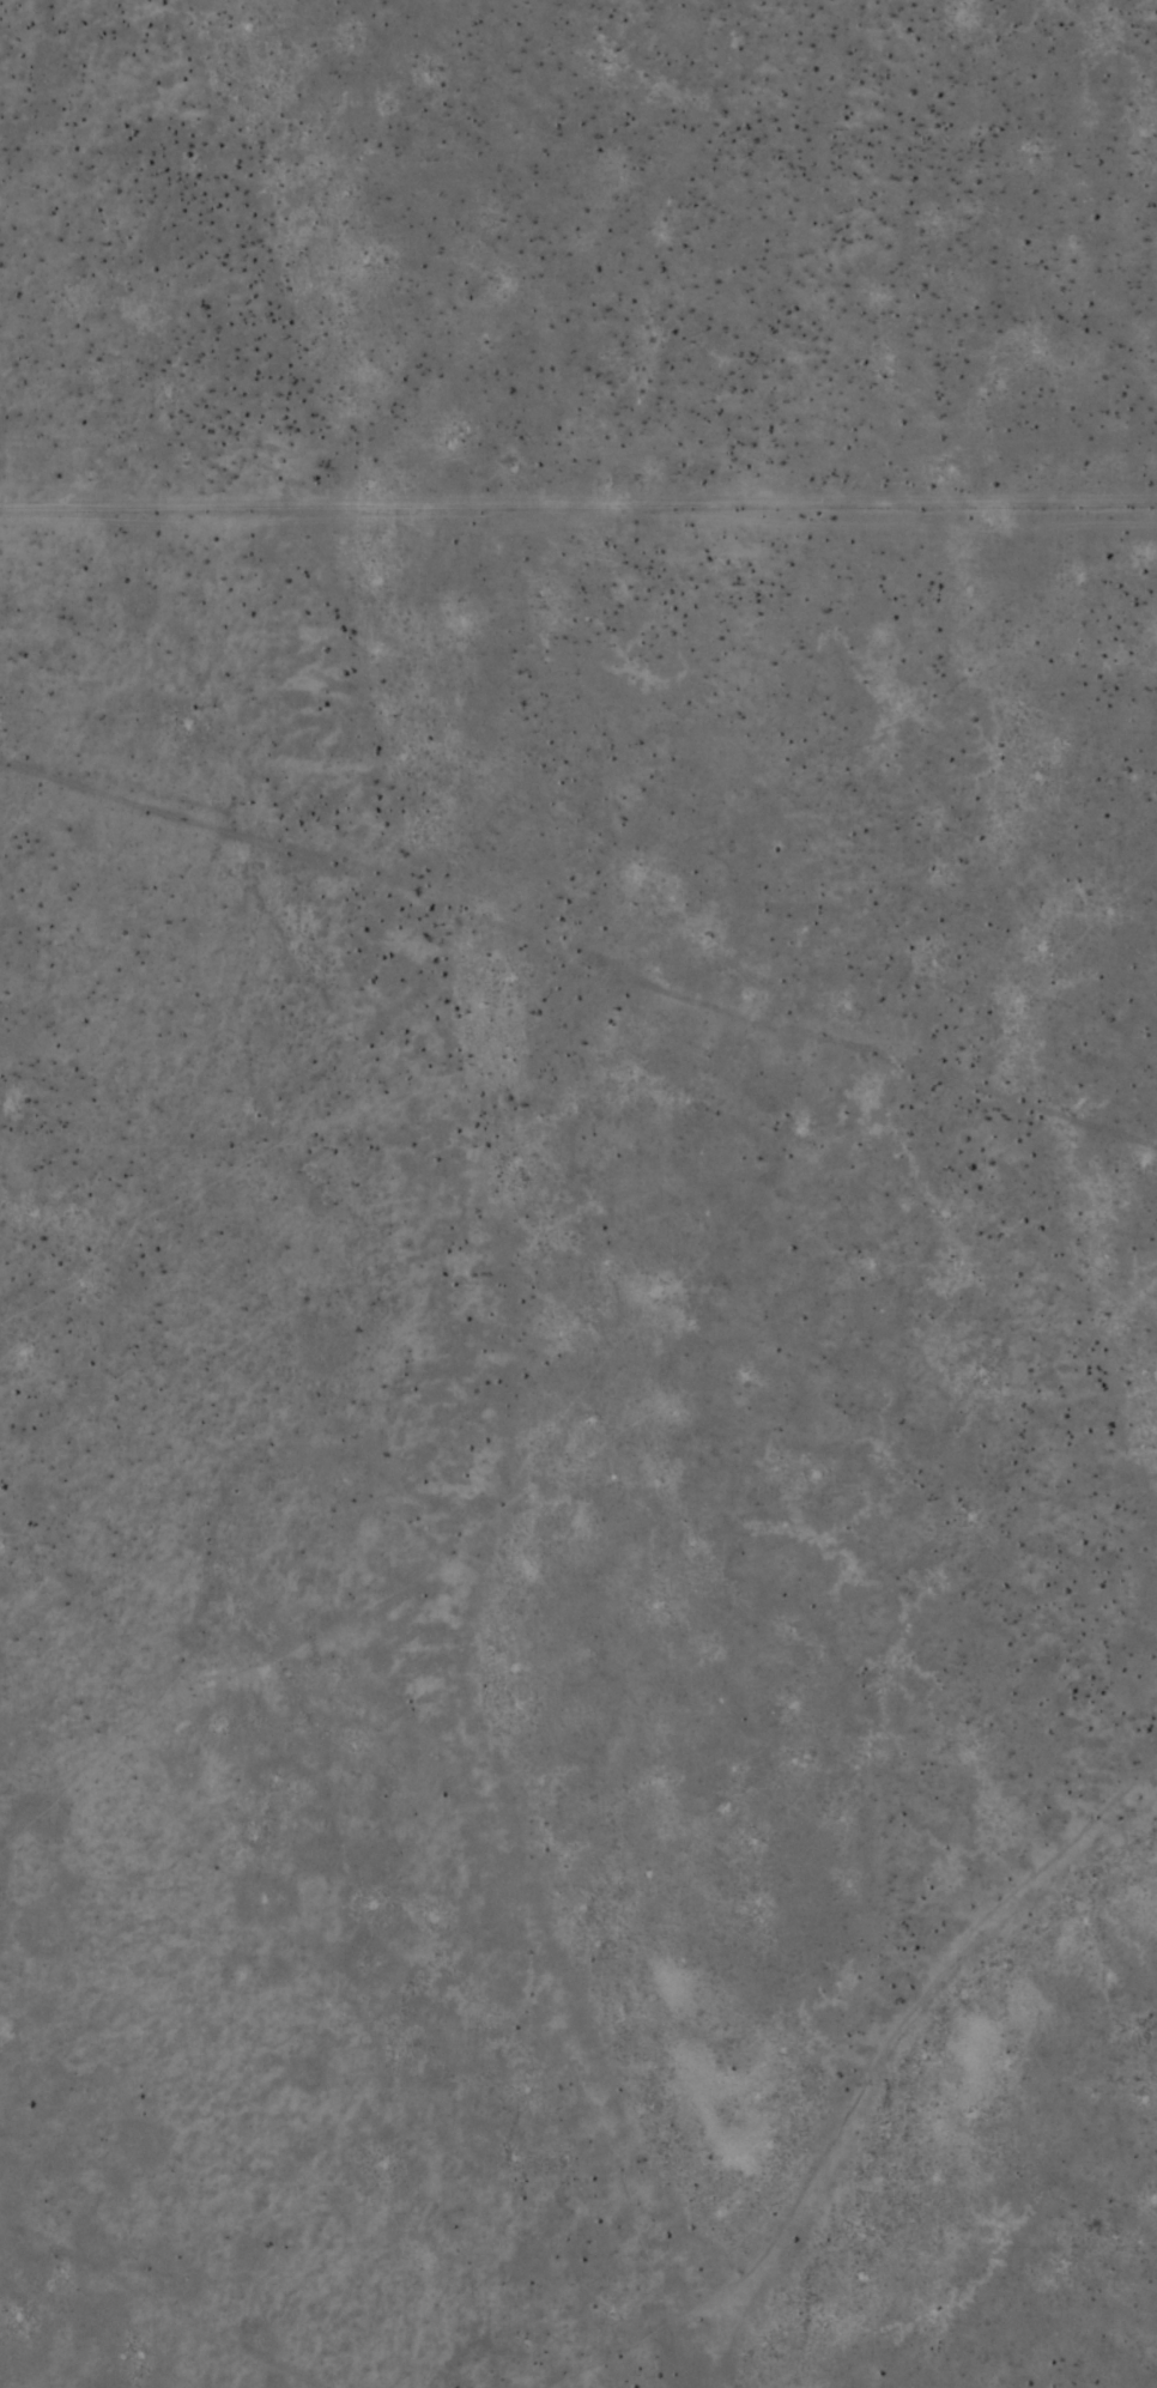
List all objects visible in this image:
road: (220, 2223)

